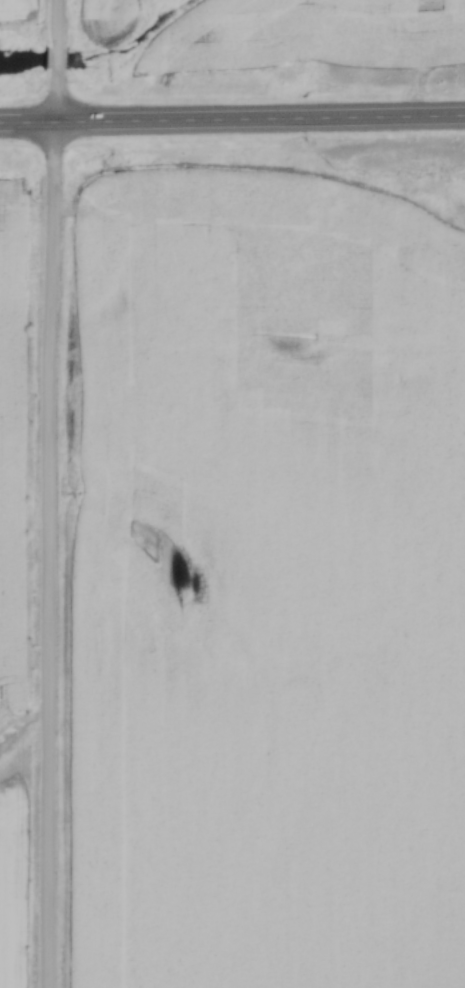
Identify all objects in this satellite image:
road: (232, 121)
road: (47, 493)

